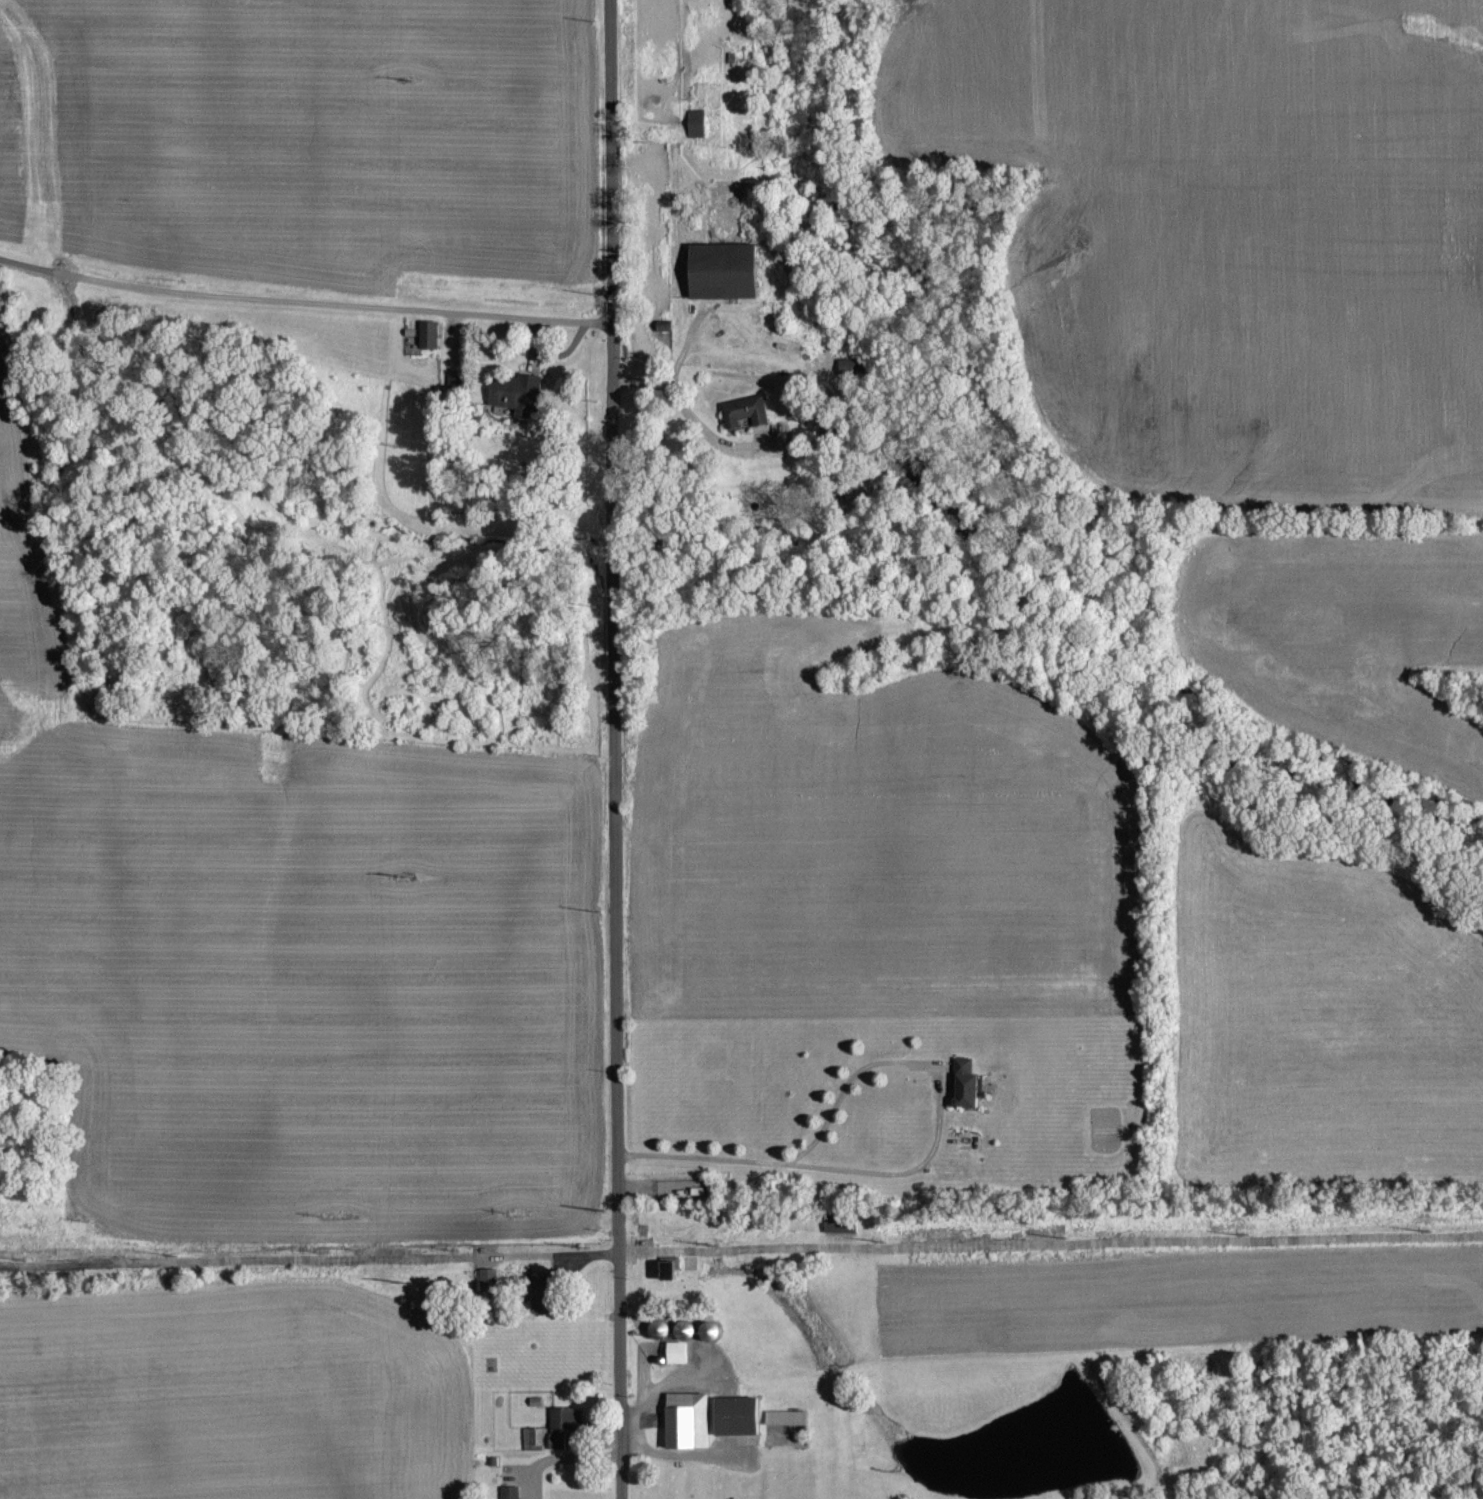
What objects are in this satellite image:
building: (700, 121)
building: (728, 269)
road: (305, 300)
building: (432, 333)
building: (521, 391)
building: (748, 411)
road: (617, 472)
power tower: (406, 876)
road: (878, 1064)
building: (970, 1082)
road: (619, 1221)
building: (842, 1223)
building: (674, 1267)
power tower: (404, 1271)
building: (491, 1279)
building: (549, 1295)
building: (681, 1352)
building: (722, 1417)
building: (567, 1423)
building: (531, 1437)
building: (512, 1492)

